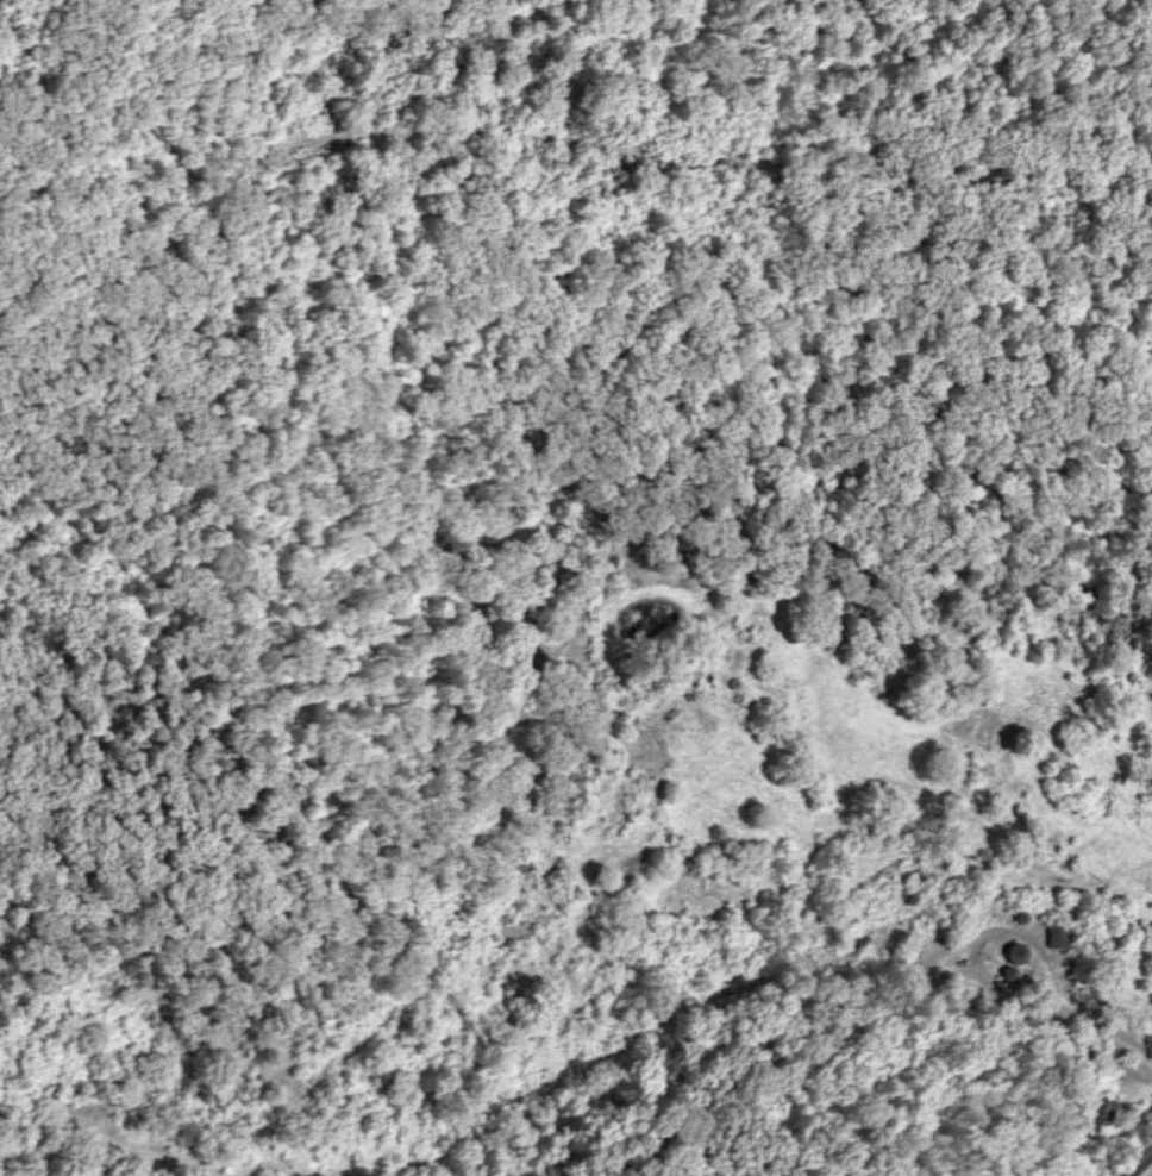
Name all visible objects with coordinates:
building: (966, 911)
building: (1053, 934)
building: (1008, 952)
building: (1065, 1044)
building: (1091, 1119)
road: (1135, 1158)

